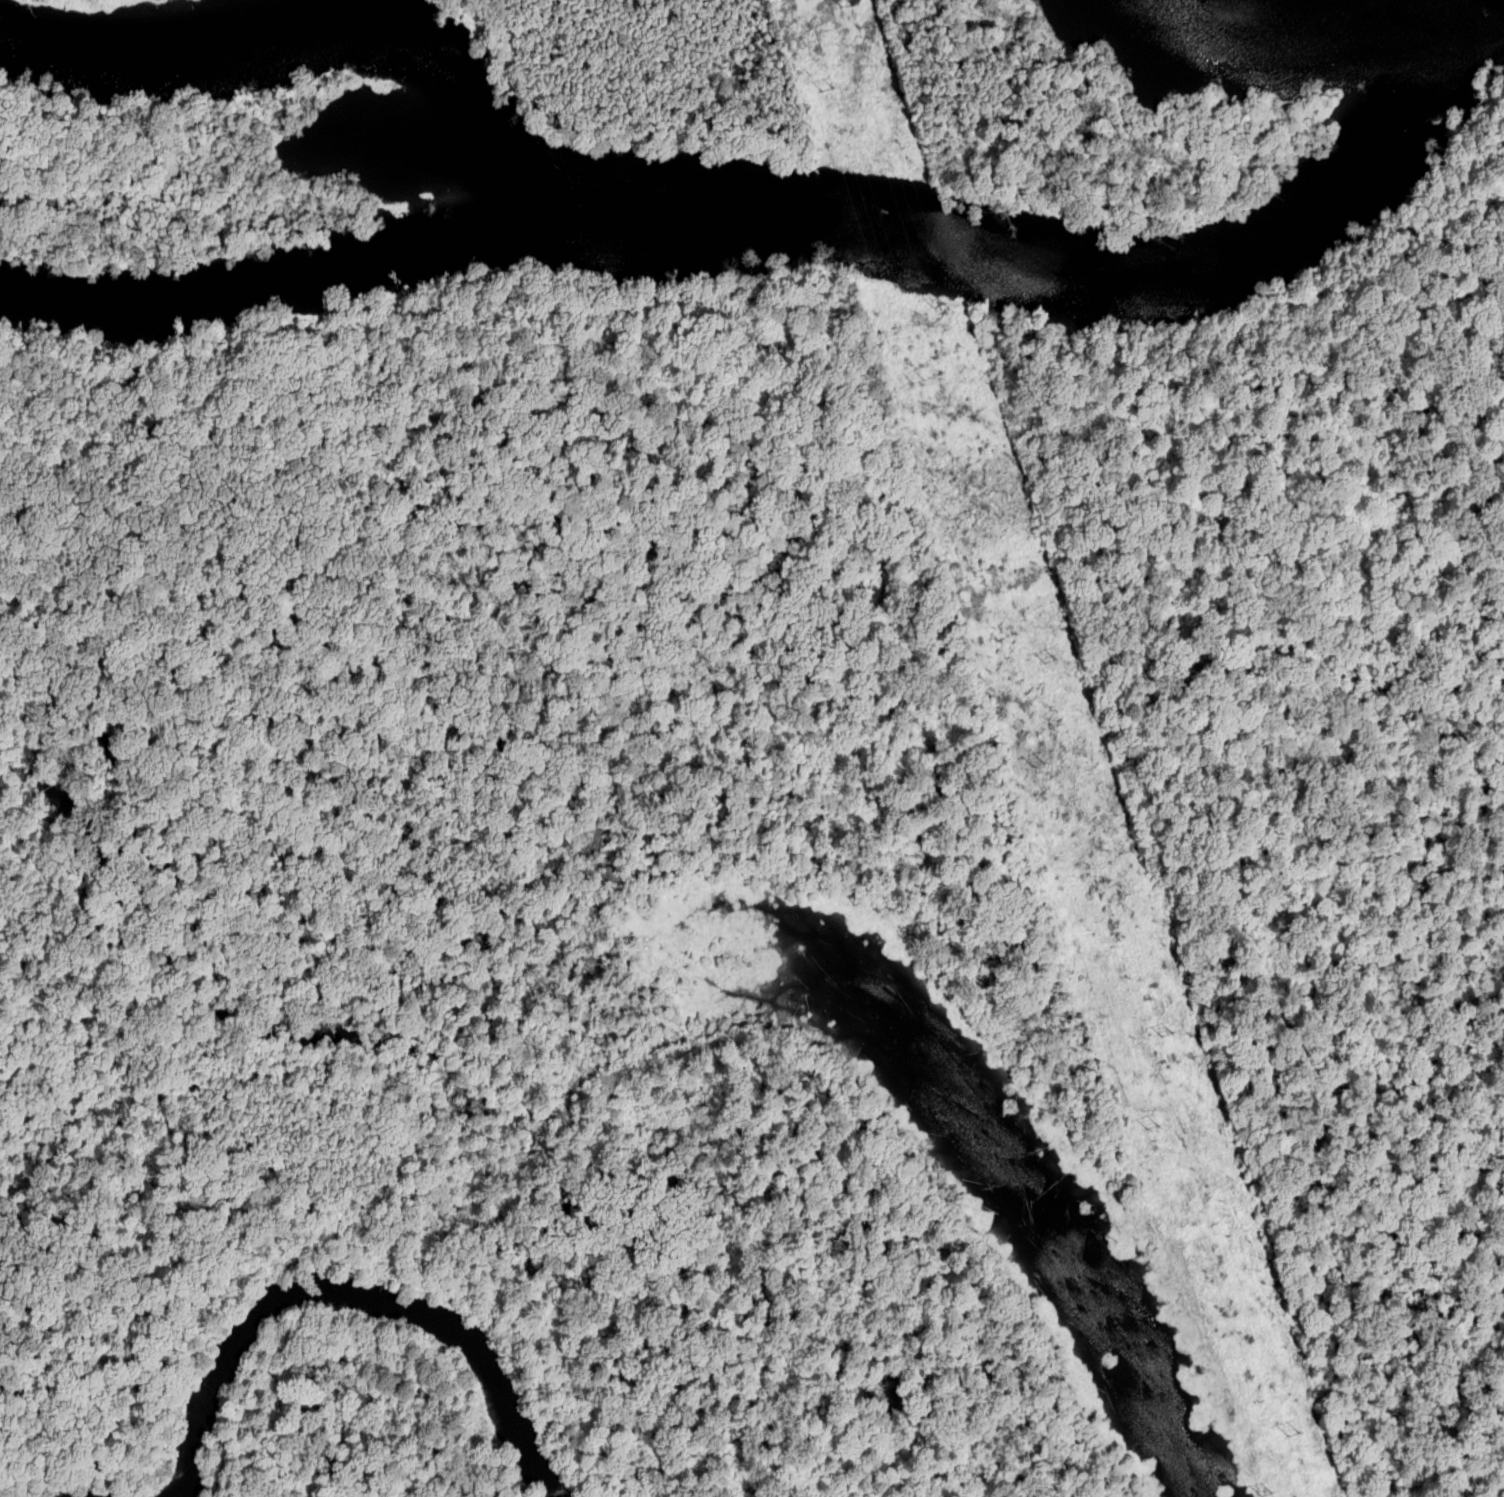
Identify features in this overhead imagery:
power tower: (852, 14)
river: (325, 54)
power tower: (829, 98)
river: (1098, 252)
river: (302, 275)
power tower: (938, 311)
power tower: (919, 382)
power tower: (1048, 658)
power tower: (1032, 757)
power tower: (1175, 1034)
power tower: (1159, 1128)
power tower: (1303, 1436)
power tower: (1274, 1494)

